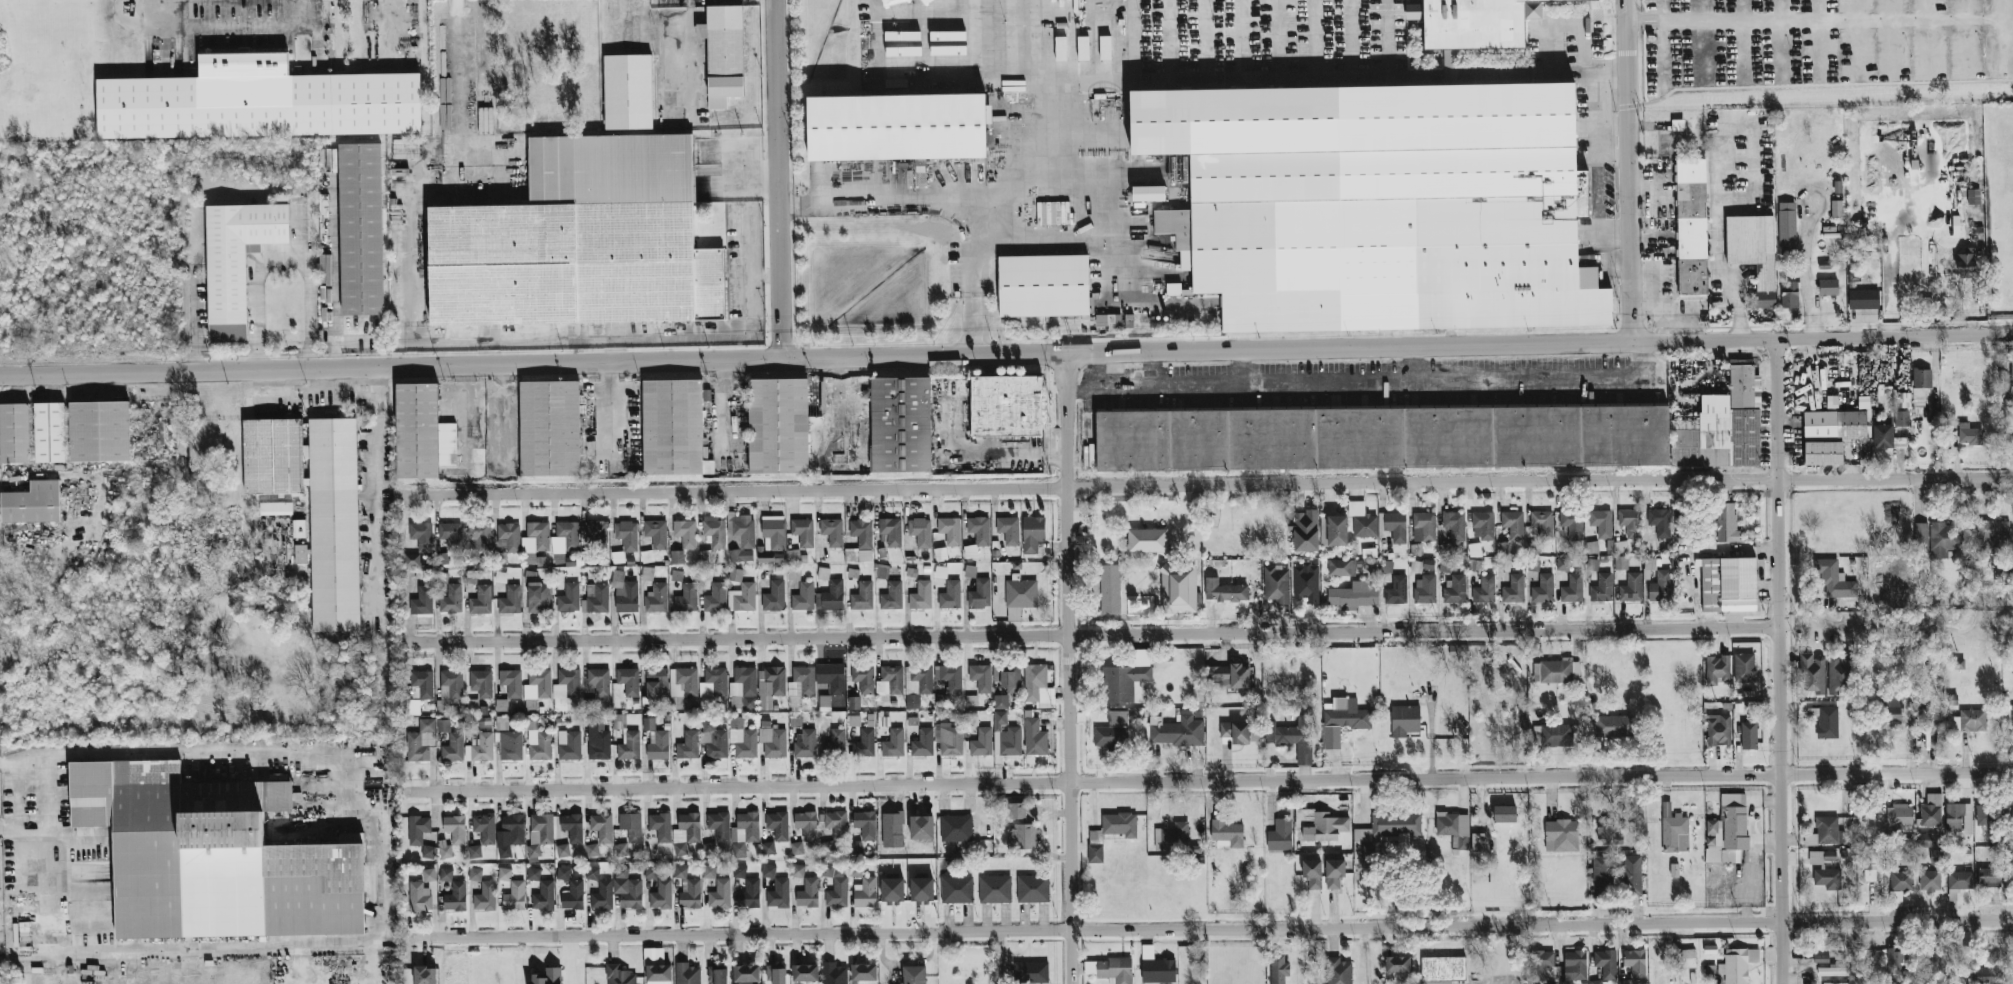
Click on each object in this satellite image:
building: (909, 0)
building: (976, 6)
building: (1251, 8)
road: (1809, 17)
building: (1479, 22)
road: (1565, 28)
road: (211, 31)
building: (1161, 35)
road: (689, 53)
building: (724, 55)
building: (938, 72)
road: (1143, 84)
building: (630, 91)
building: (258, 103)
building: (1111, 111)
road: (458, 128)
building: (900, 128)
road: (720, 171)
road: (1634, 171)
road: (768, 178)
road: (782, 179)
building: (1148, 194)
building: (1973, 197)
building: (1381, 208)
building: (1835, 209)
building: (1786, 224)
building: (1691, 228)
building: (360, 230)
road: (1805, 237)
building: (580, 242)
road: (1718, 247)
building: (1753, 254)
building: (237, 255)
road: (284, 257)
building: (1965, 266)
road: (767, 279)
road: (974, 285)
road: (408, 287)
building: (1044, 287)
building: (1828, 287)
building: (1173, 289)
building: (1789, 295)
building: (1863, 299)
building: (1108, 320)
road: (192, 322)
road: (1399, 347)
road: (392, 366)
building: (2011, 375)
building: (1921, 378)
road: (1382, 384)
building: (1007, 408)
road: (728, 409)
building: (1933, 409)
road: (1780, 410)
road: (846, 411)
road: (620, 412)
road: (471, 413)
building: (1901, 419)
building: (778, 427)
building: (901, 427)
building: (672, 428)
building: (549, 430)
building: (417, 431)
building: (66, 435)
building: (1968, 435)
building: (1882, 436)
building: (1438, 438)
building: (1822, 453)
building: (272, 458)
road: (963, 461)
road: (379, 478)
road: (1204, 486)
building: (33, 504)
building: (275, 511)
building: (1362, 522)
building: (1542, 522)
building: (1571, 522)
building: (1659, 522)
building: (1726, 522)
building: (1601, 523)
building: (1630, 523)
building: (1513, 524)
building: (1454, 525)
building: (334, 526)
building: (1393, 526)
building: (1482, 526)
building: (1423, 527)
building: (979, 530)
building: (1008, 530)
building: (298, 531)
building: (949, 531)
building: (1305, 531)
building: (1334, 531)
building: (714, 532)
building: (803, 532)
building: (832, 532)
building: (890, 532)
building: (920, 532)
building: (450, 533)
building: (1990, 533)
building: (595, 534)
building: (656, 534)
building: (685, 534)
building: (1032, 534)
building: (627, 535)
building: (421, 536)
building: (509, 536)
building: (1920, 536)
building: (479, 537)
building: (741, 537)
building: (536, 538)
building: (1944, 539)
building: (772, 540)
building: (1147, 541)
building: (860, 542)
building: (1473, 551)
building: (301, 554)
building: (793, 556)
building: (676, 557)
building: (441, 559)
building: (411, 560)
building: (1620, 562)
building: (1562, 564)
building: (1651, 564)
building: (1533, 566)
building: (1341, 568)
building: (970, 572)
building: (794, 573)
building: (2005, 574)
building: (735, 575)
building: (1833, 580)
building: (1306, 583)
building: (1276, 584)
building: (1728, 585)
building: (1660, 587)
building: (1630, 588)
building: (1514, 589)
building: (1543, 589)
building: (1572, 589)
building: (1601, 589)
building: (1109, 590)
building: (1424, 590)
building: (1484, 590)
building: (1178, 591)
building: (1223, 591)
building: (1396, 591)
building: (1455, 591)
building: (624, 593)
building: (979, 594)
building: (1020, 594)
building: (950, 595)
building: (921, 596)
building: (1353, 596)
building: (774, 597)
building: (803, 597)
building: (831, 597)
building: (862, 597)
building: (891, 597)
building: (538, 598)
building: (656, 598)
building: (715, 598)
building: (742, 598)
building: (568, 599)
building: (595, 599)
building: (686, 599)
building: (451, 600)
building: (481, 600)
building: (510, 601)
building: (422, 602)
road: (1094, 634)
building: (1743, 668)
road: (1072, 669)
building: (1716, 670)
building: (1552, 671)
building: (1575, 672)
building: (1812, 674)
building: (1840, 674)
building: (1229, 676)
building: (980, 677)
building: (1127, 677)
building: (831, 678)
building: (951, 678)
building: (863, 679)
building: (922, 679)
building: (1009, 680)
building: (628, 681)
building: (890, 681)
building: (599, 682)
building: (713, 682)
building: (802, 682)
building: (452, 683)
building: (481, 683)
building: (511, 683)
building: (422, 684)
building: (538, 685)
building: (682, 686)
building: (770, 686)
building: (1037, 686)
building: (565, 688)
building: (652, 689)
building: (743, 690)
building: (443, 698)
building: (707, 702)
building: (1000, 702)
building: (824, 703)
building: (854, 703)
building: (912, 703)
building: (412, 708)
building: (1891, 711)
building: (2012, 719)
building: (1343, 720)
building: (1404, 720)
building: (854, 721)
building: (1969, 721)
building: (619, 722)
building: (1827, 722)
building: (501, 723)
building: (648, 724)
building: (443, 726)
building: (1620, 727)
building: (1177, 730)
building: (1718, 730)
building: (1112, 731)
building: (1235, 732)
road: (1782, 732)
building: (1555, 735)
building: (1005, 736)
building: (1748, 736)
building: (1034, 738)
building: (1293, 738)
building: (742, 739)
building: (713, 740)
building: (837, 740)
building: (950, 740)
building: (421, 741)
building: (597, 741)
building: (772, 741)
building: (538, 743)
building: (893, 743)
building: (923, 743)
building: (981, 743)
building: (863, 744)
building: (569, 745)
building: (805, 745)
building: (510, 746)
building: (658, 746)
building: (688, 746)
building: (629, 747)
building: (453, 748)
building: (480, 749)
road: (158, 753)
road: (22, 754)
building: (154, 773)
road: (1209, 781)
building: (99, 805)
building: (1016, 811)
building: (1931, 811)
building: (1504, 814)
building: (1899, 815)
building: (1984, 815)
building: (1958, 819)
building: (836, 824)
building: (777, 825)
building: (806, 825)
building: (865, 825)
building: (1320, 825)
building: (719, 826)
building: (1452, 826)
building: (601, 827)
building: (631, 827)
building: (660, 827)
building: (484, 828)
building: (572, 828)
building: (921, 828)
building: (1115, 828)
building: (455, 829)
building: (955, 829)
building: (1605, 829)
building: (418, 830)
building: (1673, 830)
building: (1728, 830)
building: (539, 833)
building: (685, 833)
building: (744, 833)
building: (1383, 833)
building: (1825, 833)
building: (1226, 834)
building: (509, 835)
building: (1279, 836)
building: (1561, 836)
building: (1020, 837)
building: (1172, 838)
road: (106, 839)
building: (1928, 840)
building: (1477, 842)
building: (827, 847)
building: (855, 847)
building: (768, 848)
building: (796, 848)
building: (621, 849)
building: (709, 849)
building: (445, 850)
building: (592, 850)
building: (562, 851)
building: (428, 852)
building: (475, 852)
building: (1094, 853)
building: (2011, 855)
building: (1936, 856)
building: (1821, 857)
building: (243, 860)
building: (99, 863)
building: (1868, 866)
building: (856, 870)
building: (768, 871)
building: (797, 871)
building: (1673, 871)
building: (680, 872)
building: (709, 872)
building: (738, 872)
building: (563, 873)
building: (592, 873)
building: (651, 873)
building: (1334, 873)
building: (504, 874)
building: (533, 874)
building: (1312, 874)
building: (1990, 874)
building: (428, 875)
building: (446, 875)
building: (475, 875)
building: (1632, 875)
building: (1601, 876)
building: (1827, 879)
building: (1929, 881)
building: (1958, 884)
building: (835, 885)
building: (1899, 886)
building: (627, 889)
building: (995, 889)
building: (1032, 889)
building: (921, 890)
building: (956, 890)
building: (892, 891)
building: (865, 893)
building: (778, 894)
building: (808, 894)
building: (661, 895)
building: (691, 895)
building: (720, 895)
building: (749, 895)
building: (543, 896)
building: (573, 896)
building: (602, 896)
building: (455, 897)
building: (485, 897)
building: (514, 897)
building: (419, 898)
road: (1212, 929)
building: (1827, 944)
road: (184, 952)
building: (1896, 957)
building: (1684, 959)
building: (1820, 960)
building: (1605, 964)
building: (1635, 964)
building: (1738, 964)
building: (1397, 965)
building: (1575, 965)
building: (656, 967)
building: (1156, 968)
building: (1278, 968)
building: (1110, 969)
building: (1442, 970)
building: (1337, 971)
building: (863, 972)
building: (1835, 972)
building: (804, 973)
building: (1030, 973)
building: (686, 974)
building: (746, 974)
building: (833, 974)
building: (425, 975)
building: (619, 975)
building: (776, 975)
building: (913, 975)
building: (717, 976)
building: (547, 977)
road: (114, 978)
building: (1595, 982)
building: (1834, 983)

